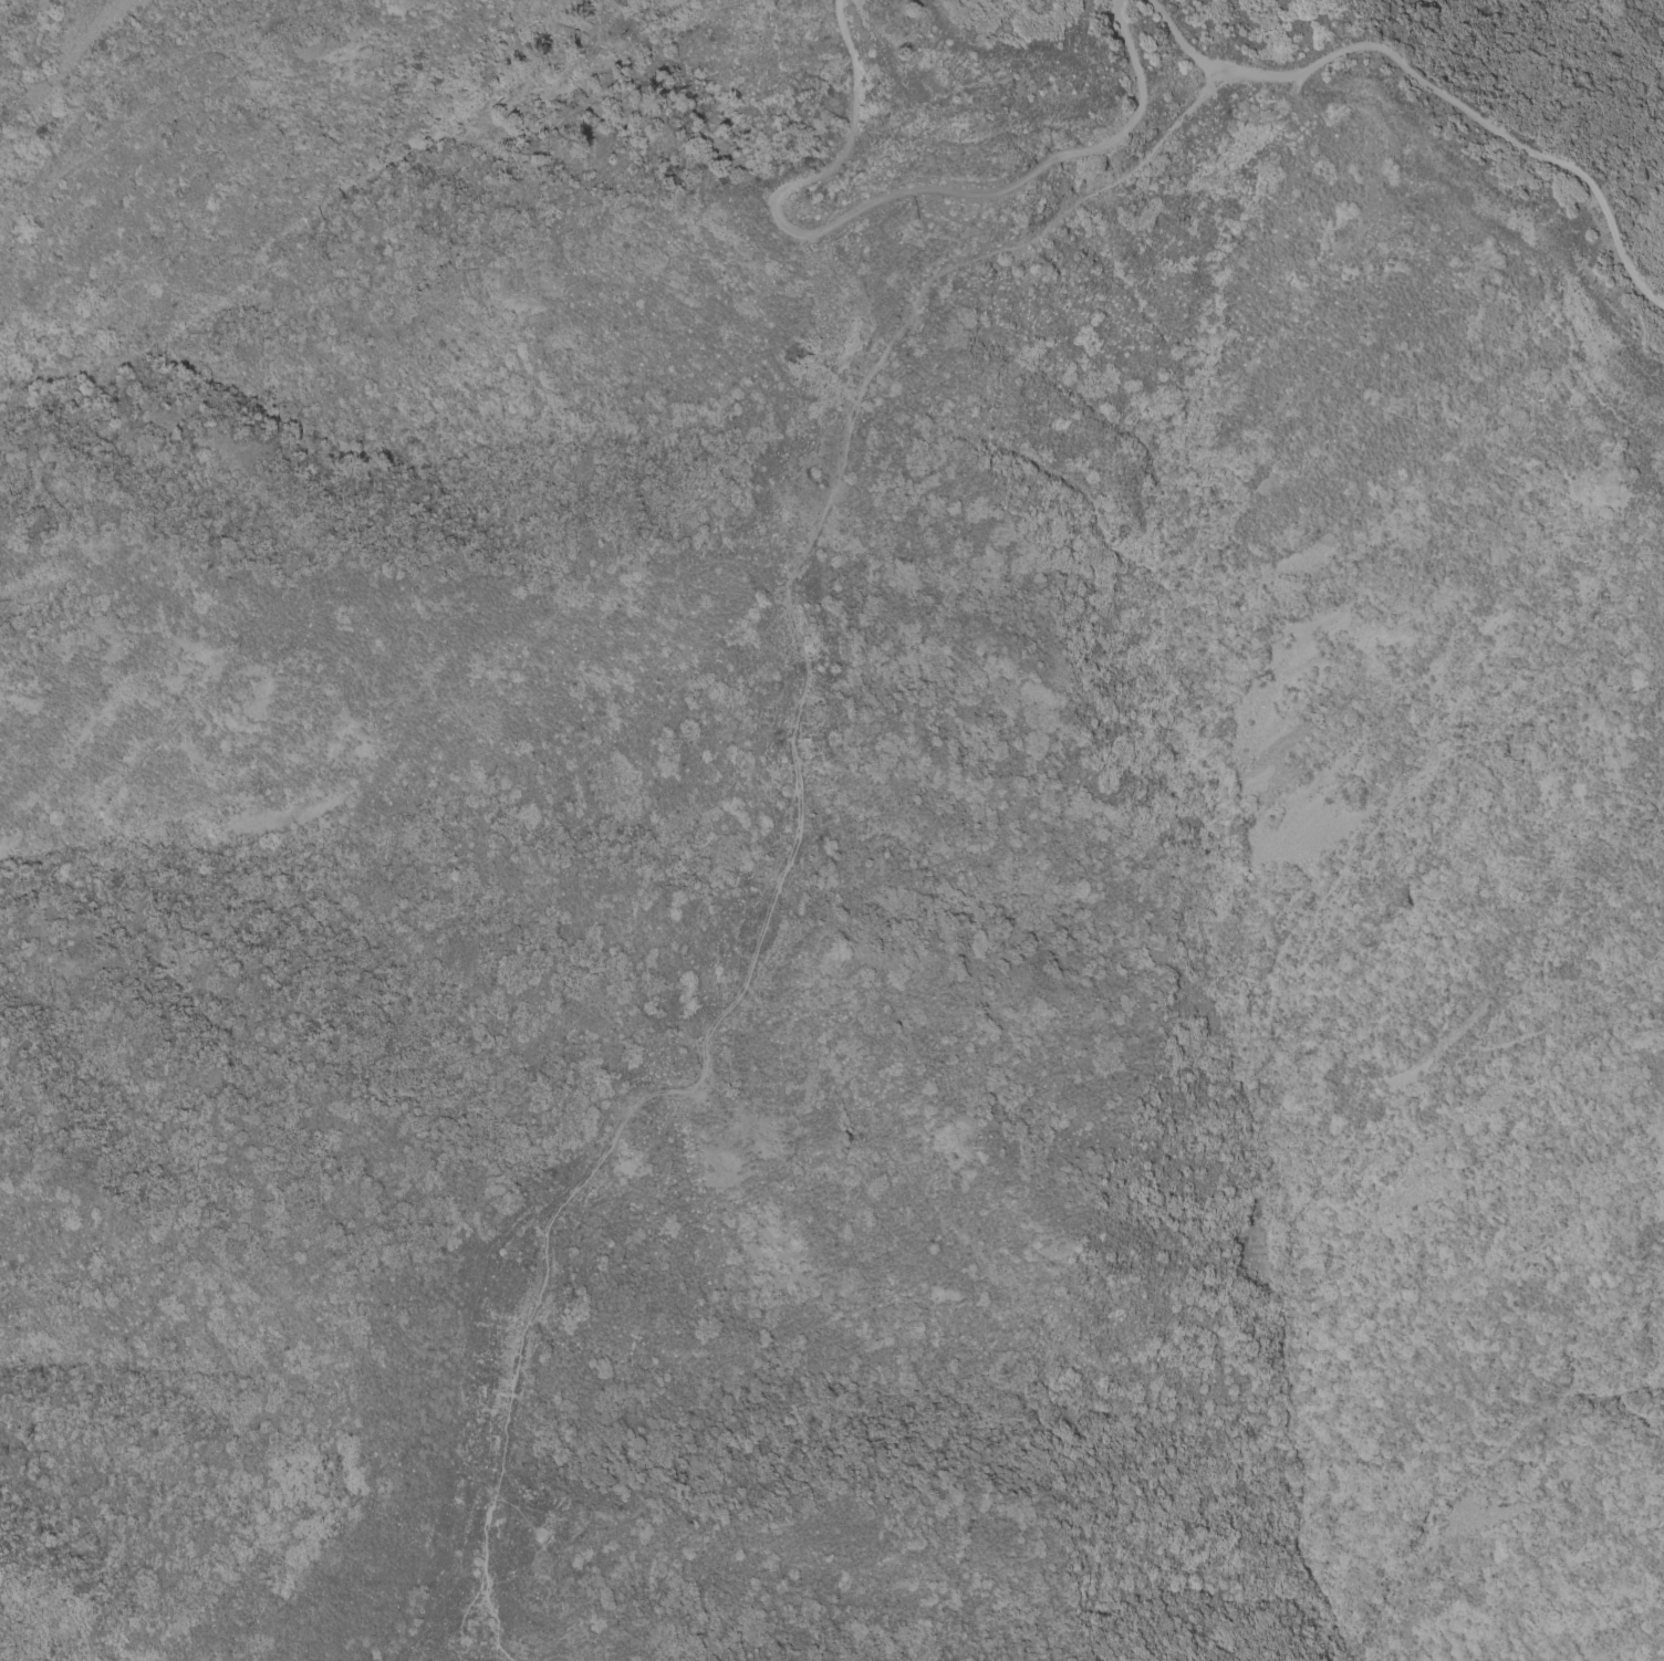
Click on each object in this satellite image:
road: (1432, 83)
road: (885, 188)
road: (794, 786)
road: (477, 1115)
building: (537, 1536)
road: (51, 1591)
road: (76, 1599)
road: (482, 1632)

